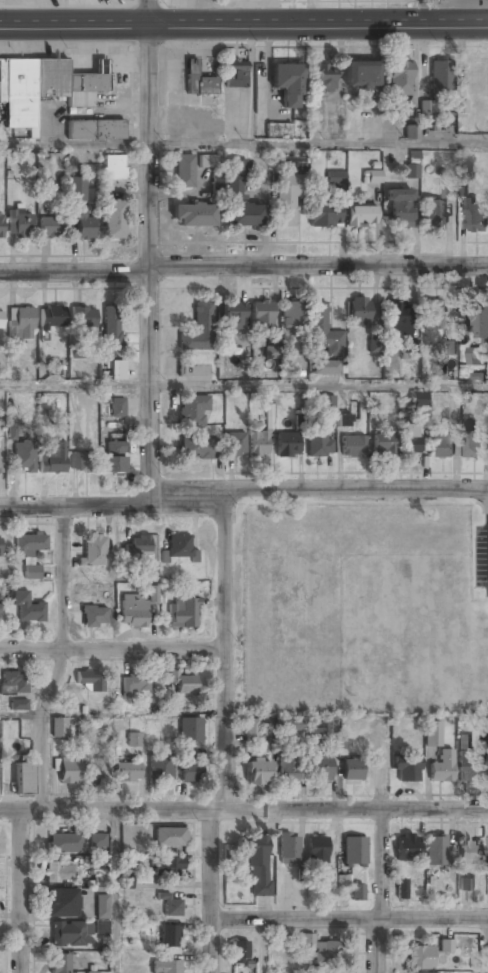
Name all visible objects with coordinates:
road: (243, 27)
building: (235, 75)
building: (361, 75)
building: (440, 77)
building: (325, 78)
building: (400, 79)
building: (196, 81)
building: (287, 83)
building: (43, 88)
building: (428, 106)
building: (278, 129)
building: (94, 131)
building: (411, 131)
road: (243, 143)
building: (207, 161)
building: (289, 163)
building: (113, 168)
building: (411, 170)
building: (183, 171)
building: (371, 176)
building: (334, 178)
building: (216, 180)
building: (449, 187)
building: (286, 199)
building: (239, 205)
building: (400, 208)
building: (79, 211)
building: (433, 213)
building: (193, 216)
building: (361, 216)
building: (324, 217)
building: (476, 217)
building: (113, 220)
building: (18, 223)
building: (0, 226)
building: (51, 228)
road: (148, 252)
road: (243, 266)
building: (358, 311)
building: (291, 315)
building: (261, 316)
building: (434, 316)
building: (51, 317)
building: (1, 318)
building: (83, 318)
building: (234, 318)
building: (398, 320)
building: (480, 322)
building: (20, 323)
building: (199, 330)
building: (111, 331)
building: (323, 332)
building: (374, 346)
building: (449, 347)
building: (80, 353)
building: (326, 368)
building: (115, 371)
road: (243, 384)
building: (419, 400)
building: (327, 405)
building: (117, 408)
building: (192, 411)
building: (269, 414)
building: (343, 420)
building: (11, 430)
building: (409, 439)
building: (257, 443)
building: (320, 443)
building: (287, 444)
building: (474, 444)
building: (235, 445)
building: (442, 445)
building: (353, 446)
building: (384, 446)
building: (195, 448)
building: (23, 455)
building: (1, 456)
building: (52, 457)
building: (112, 458)
building: (80, 462)
road: (243, 491)
building: (30, 544)
building: (0, 545)
building: (137, 548)
building: (178, 548)
building: (94, 551)
parking lot: (481, 563)
building: (32, 572)
building: (153, 594)
building: (28, 607)
park: (362, 610)
building: (0, 612)
building: (133, 612)
building: (181, 614)
building: (94, 616)
road: (112, 650)
road: (224, 650)
road: (60, 660)
building: (90, 680)
building: (14, 682)
building: (183, 684)
building: (134, 685)
building: (18, 704)
road: (22, 715)
building: (289, 724)
building: (330, 726)
building: (58, 729)
building: (190, 731)
building: (252, 731)
building: (433, 734)
building: (133, 740)
building: (341, 742)
building: (470, 766)
building: (442, 767)
building: (319, 768)
building: (160, 769)
building: (189, 769)
building: (407, 769)
building: (353, 770)
building: (68, 771)
building: (96, 771)
building: (287, 771)
building: (127, 773)
building: (257, 773)
building: (22, 780)
road: (355, 809)
road: (105, 810)
road: (217, 810)
building: (169, 837)
building: (97, 841)
building: (63, 844)
building: (289, 847)
building: (407, 848)
building: (317, 849)
building: (435, 851)
building: (470, 851)
building: (354, 852)
road: (381, 864)
building: (258, 865)
building: (168, 867)
building: (58, 872)
building: (449, 877)
building: (99, 878)
building: (329, 879)
building: (342, 882)
building: (126, 883)
building: (466, 884)
building: (401, 889)
road: (20, 891)
road: (117, 891)
road: (210, 891)
building: (315, 893)
building: (357, 893)
building: (60, 903)
building: (102, 906)
building: (170, 907)
road: (434, 919)
road: (293, 920)
road: (379, 920)
building: (100, 928)
building: (67, 935)
building: (169, 936)
building: (445, 945)
road: (376, 946)
road: (486, 946)
road: (262, 947)
building: (319, 950)
building: (239, 951)
building: (419, 958)
building: (59, 963)
building: (166, 966)
building: (424, 972)

